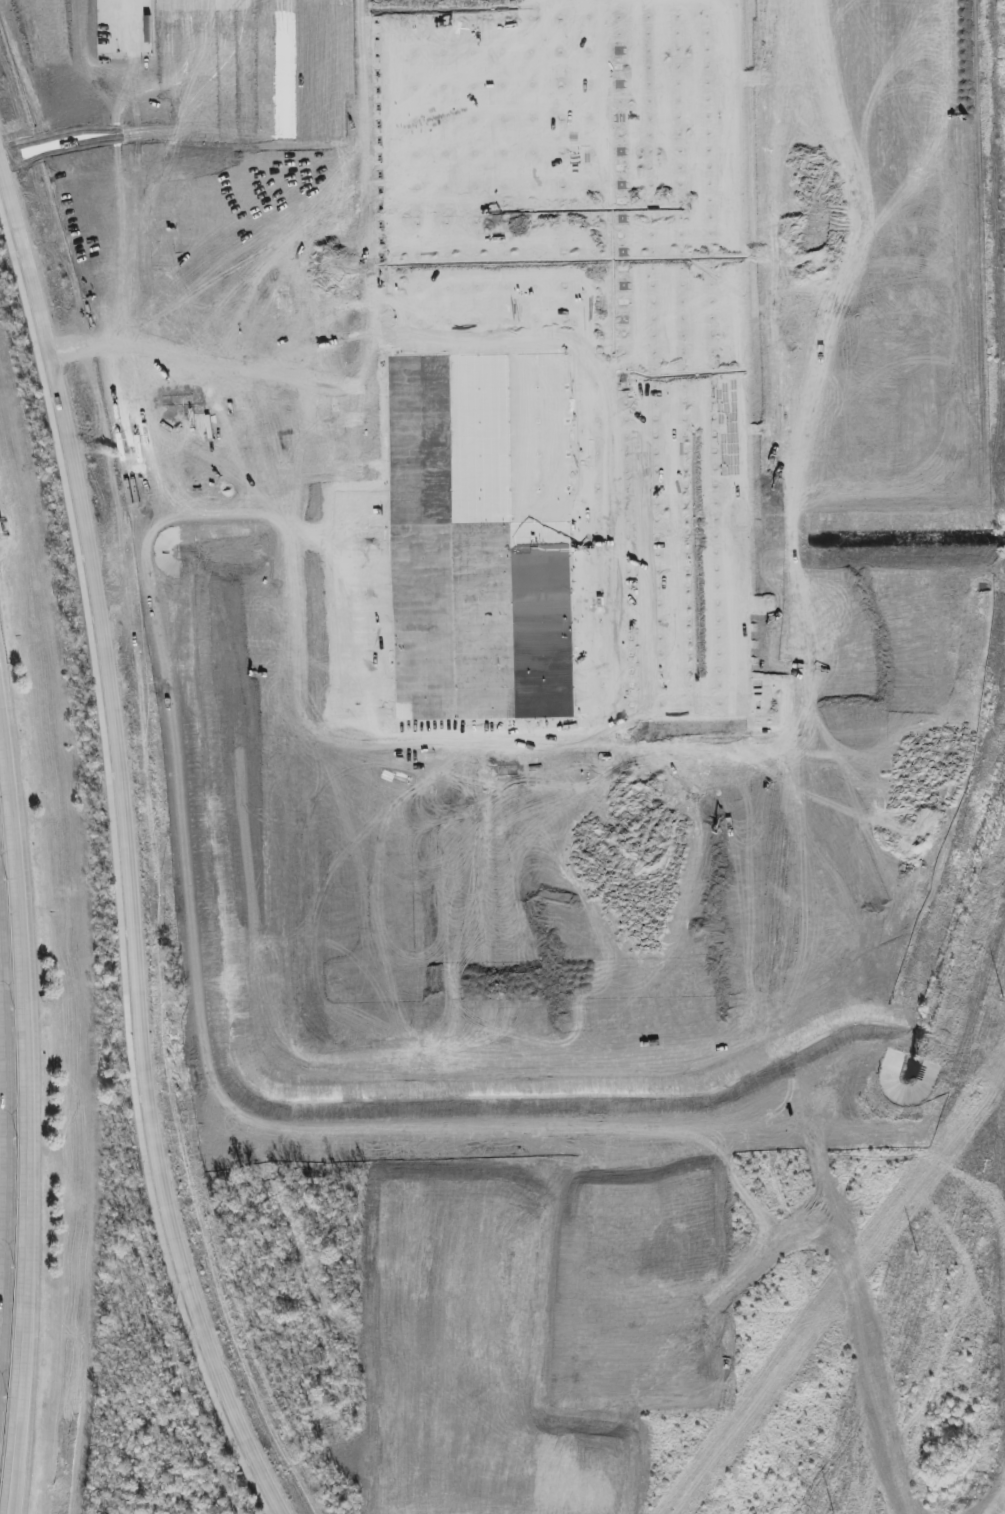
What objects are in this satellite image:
road: (252, 65)
road: (292, 65)
road: (333, 65)
road: (174, 66)
road: (216, 66)
road: (165, 132)
road: (338, 268)
road: (179, 280)
road: (296, 281)
road: (220, 282)
road: (257, 282)
road: (920, 372)
road: (213, 434)
road: (303, 589)
road: (265, 590)
road: (297, 747)
road: (153, 795)
road: (825, 835)
road: (127, 843)
road: (309, 847)
road: (311, 985)
road: (28, 1123)
road: (2, 1172)
road: (258, 1438)

